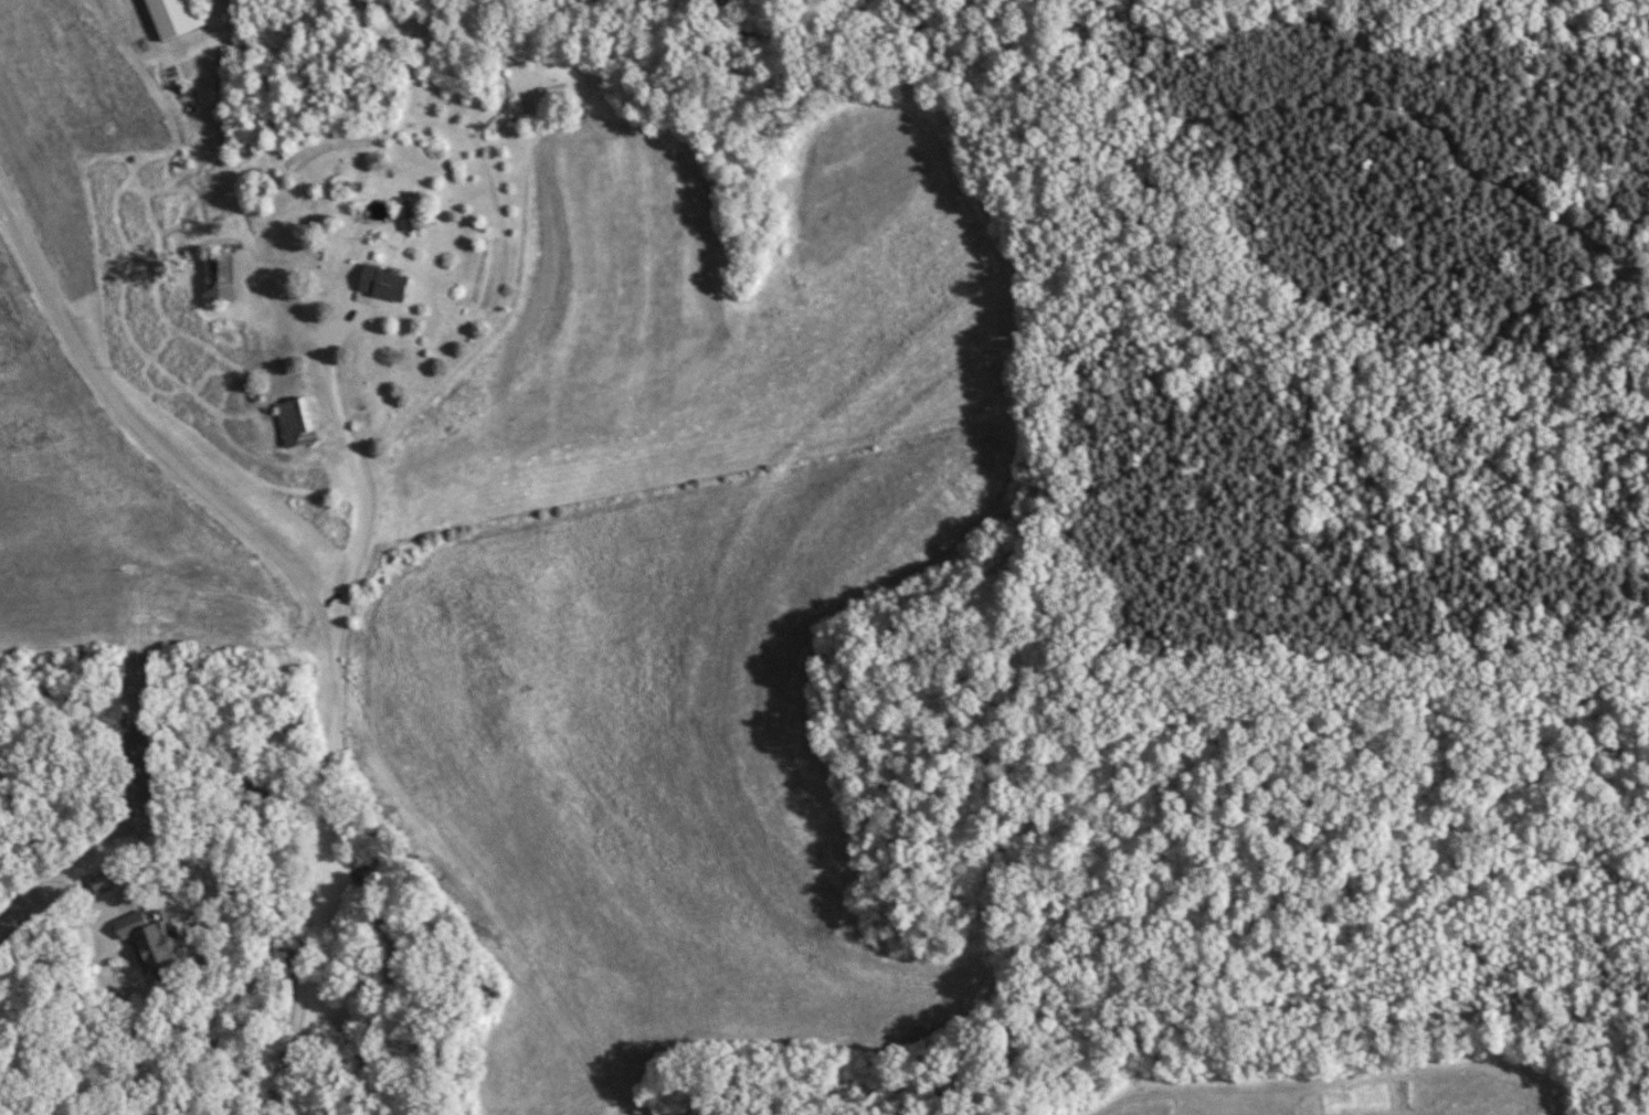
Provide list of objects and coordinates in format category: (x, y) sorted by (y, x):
building: (176, 17)
building: (415, 222)
building: (221, 276)
building: (384, 282)
building: (296, 418)
road: (368, 486)
road: (316, 603)
building: (104, 880)
building: (150, 939)
road: (118, 1036)

